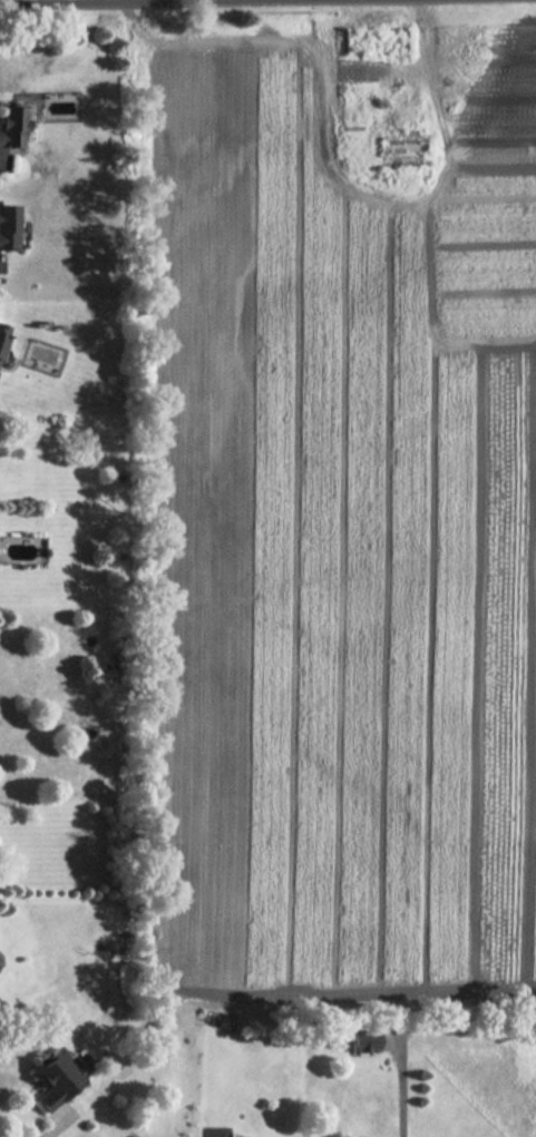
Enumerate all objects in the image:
road: (2, 0)
building: (13, 122)
building: (2, 334)
building: (363, 1038)
building: (56, 1078)
road: (400, 1088)

